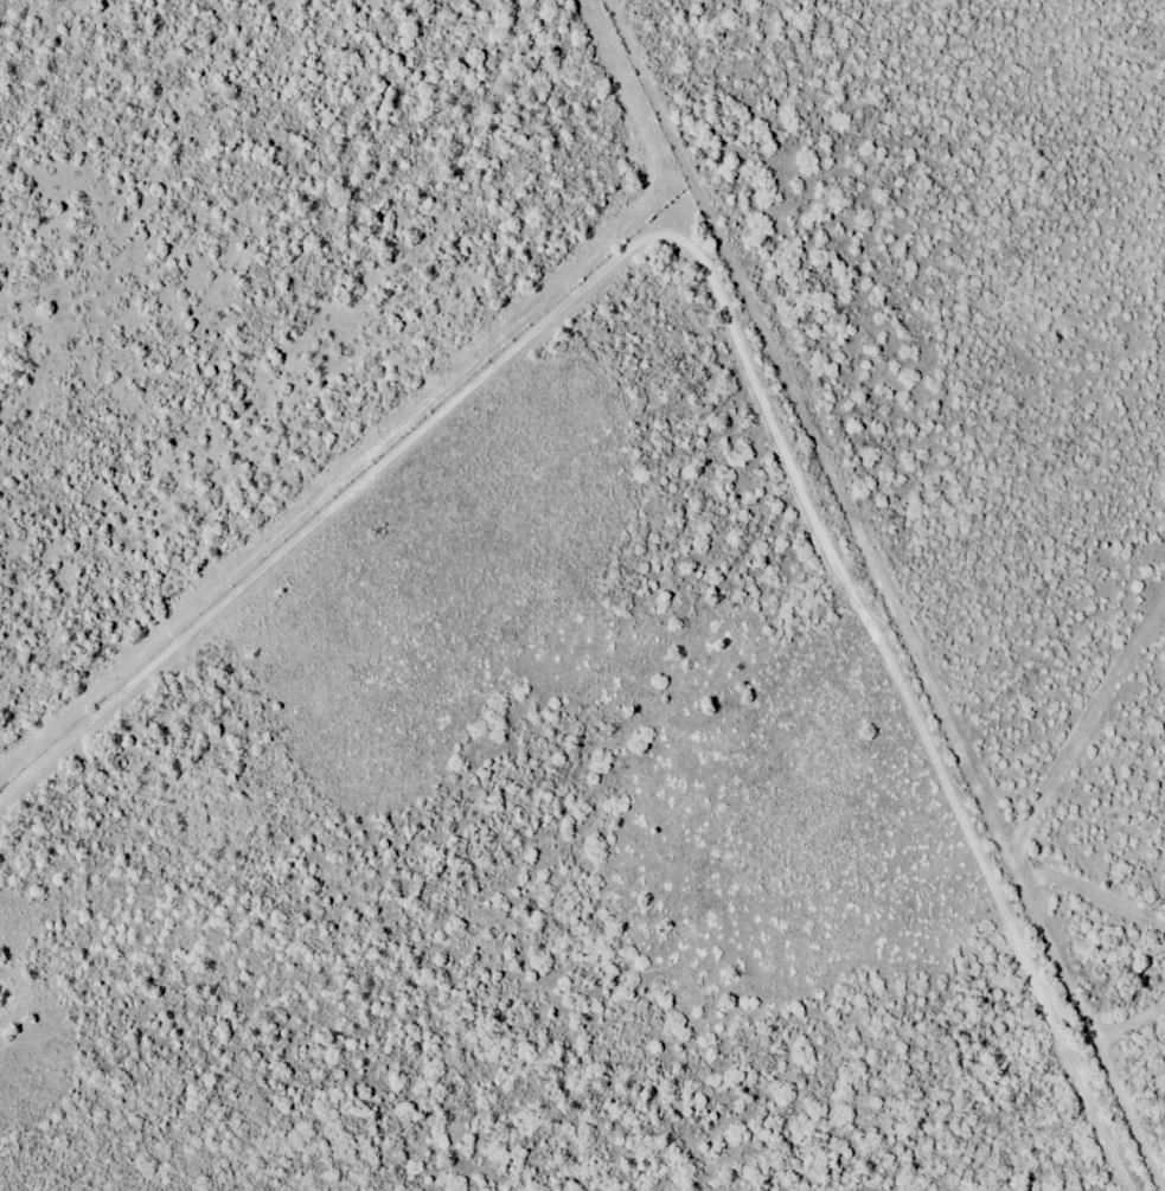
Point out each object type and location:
road: (448, 475)
road: (1135, 1127)

